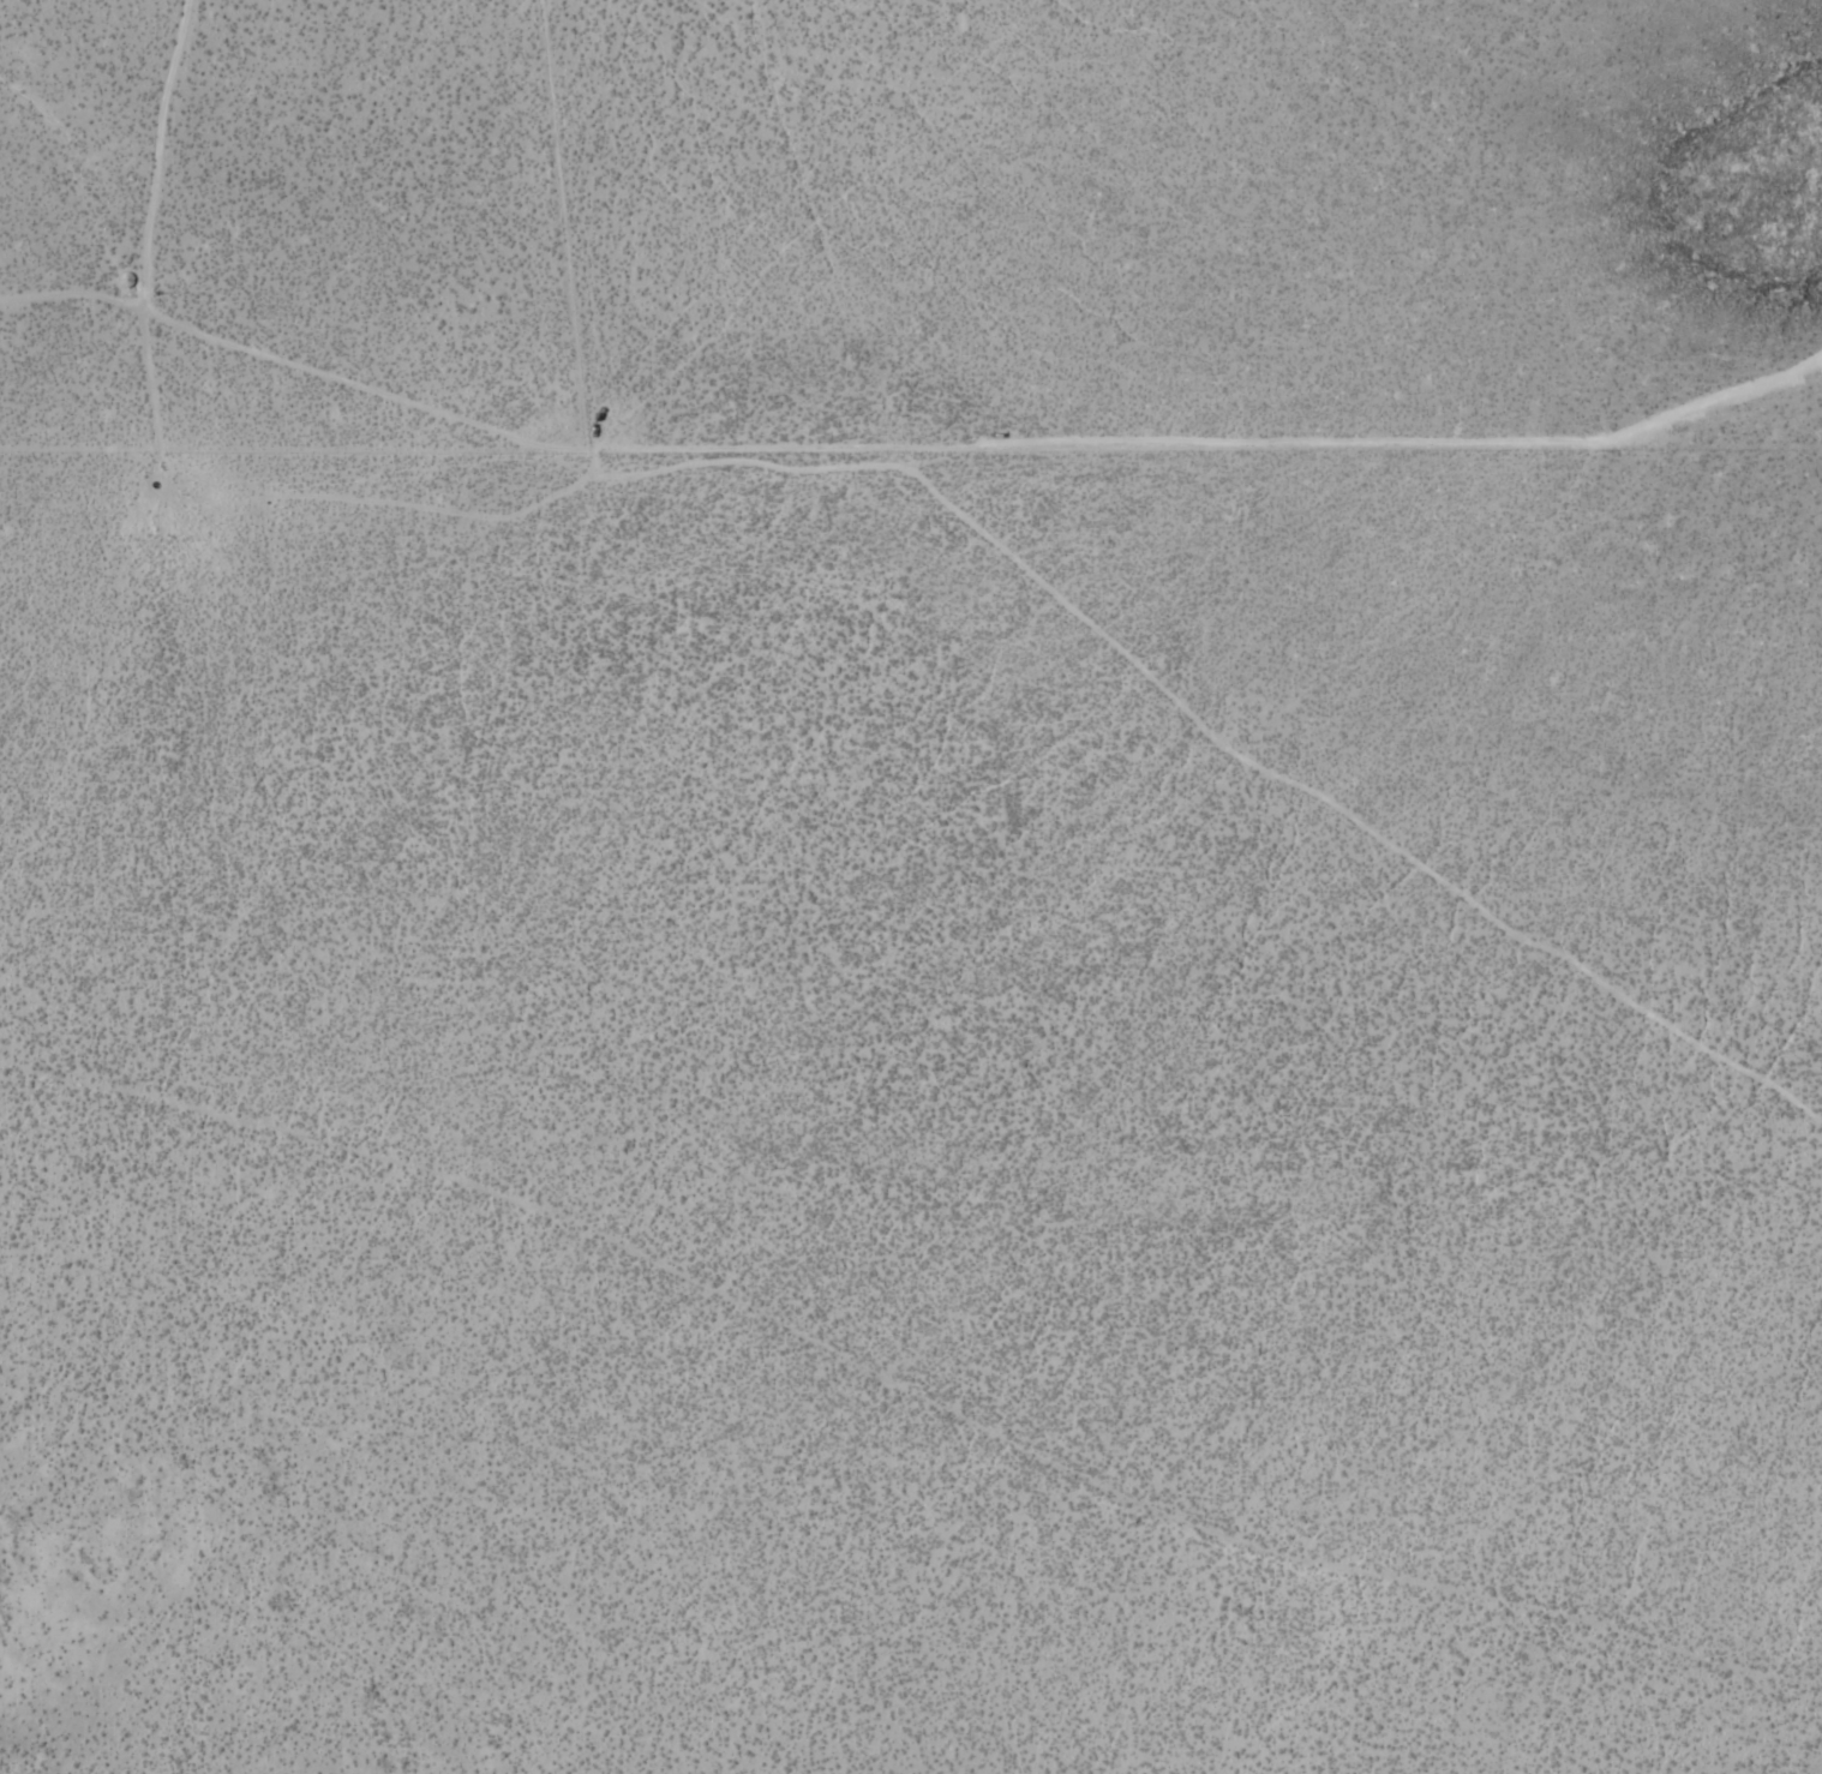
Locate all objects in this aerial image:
road: (170, 146)
road: (909, 439)

